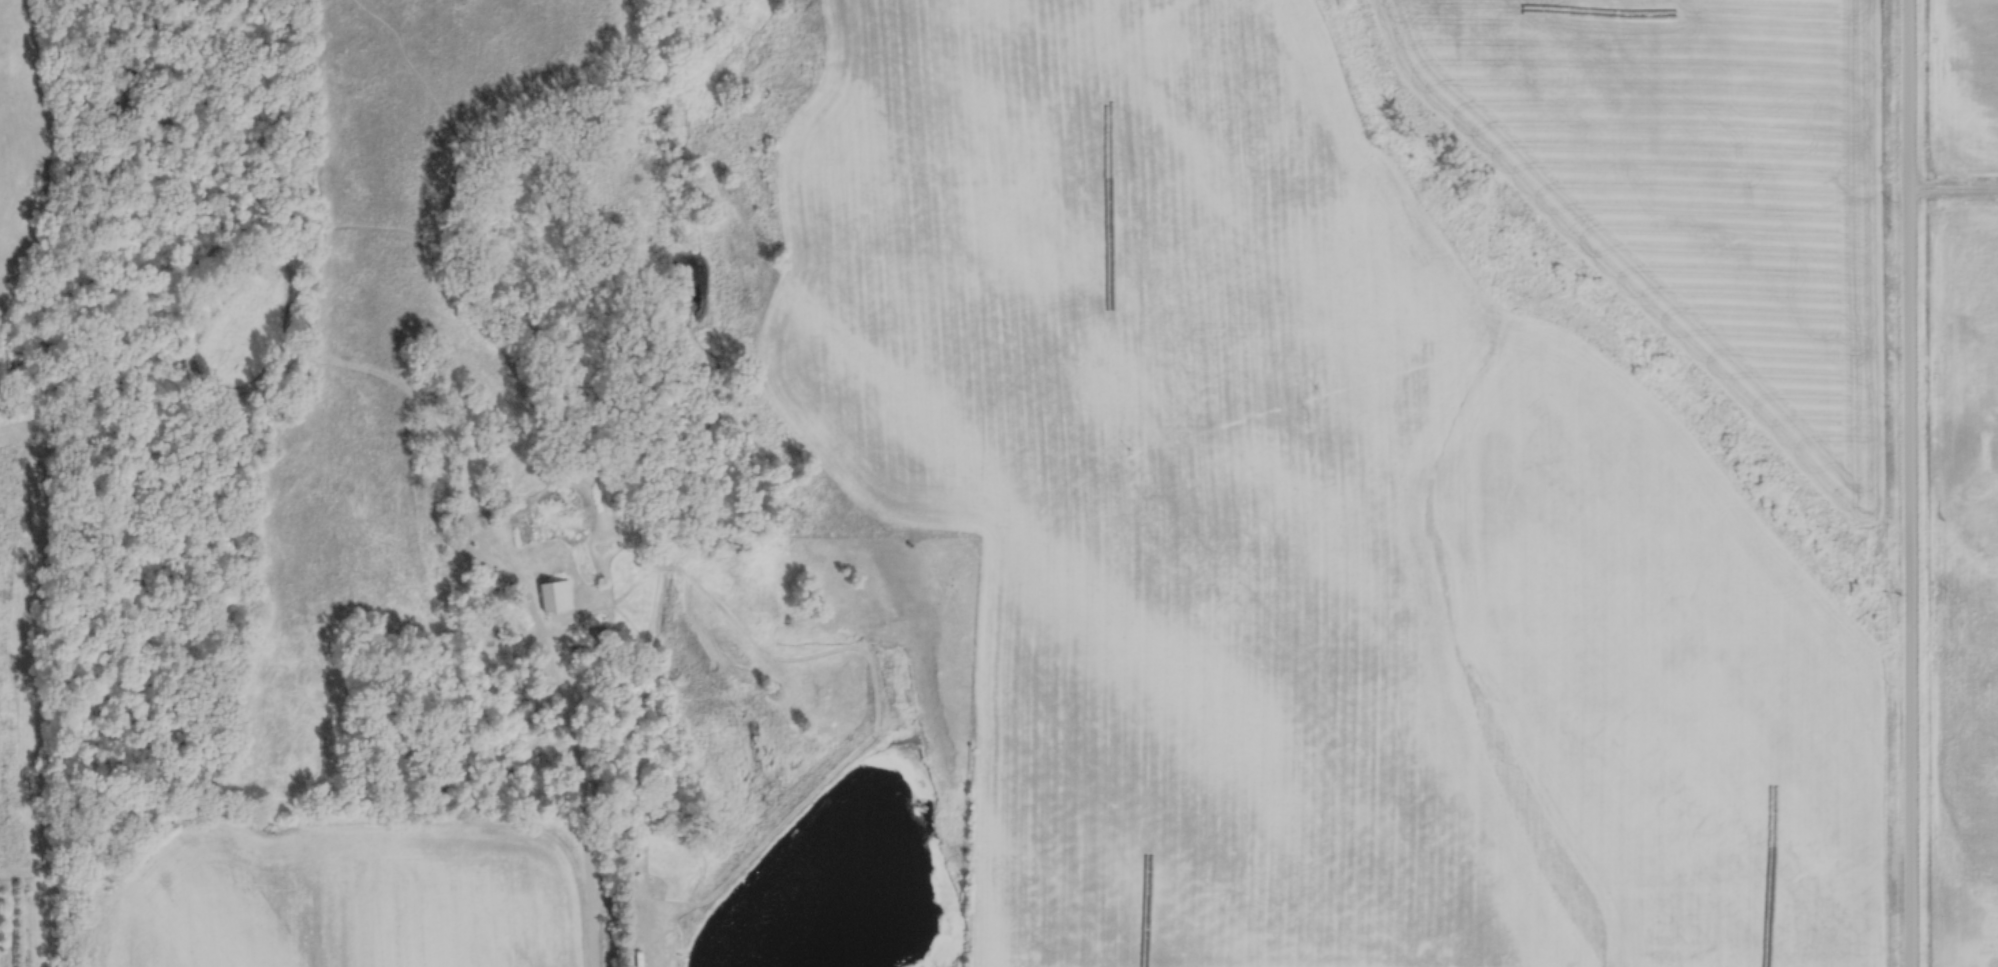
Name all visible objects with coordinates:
road: (1954, 192)
road: (1911, 483)
building: (555, 596)
road: (583, 806)

